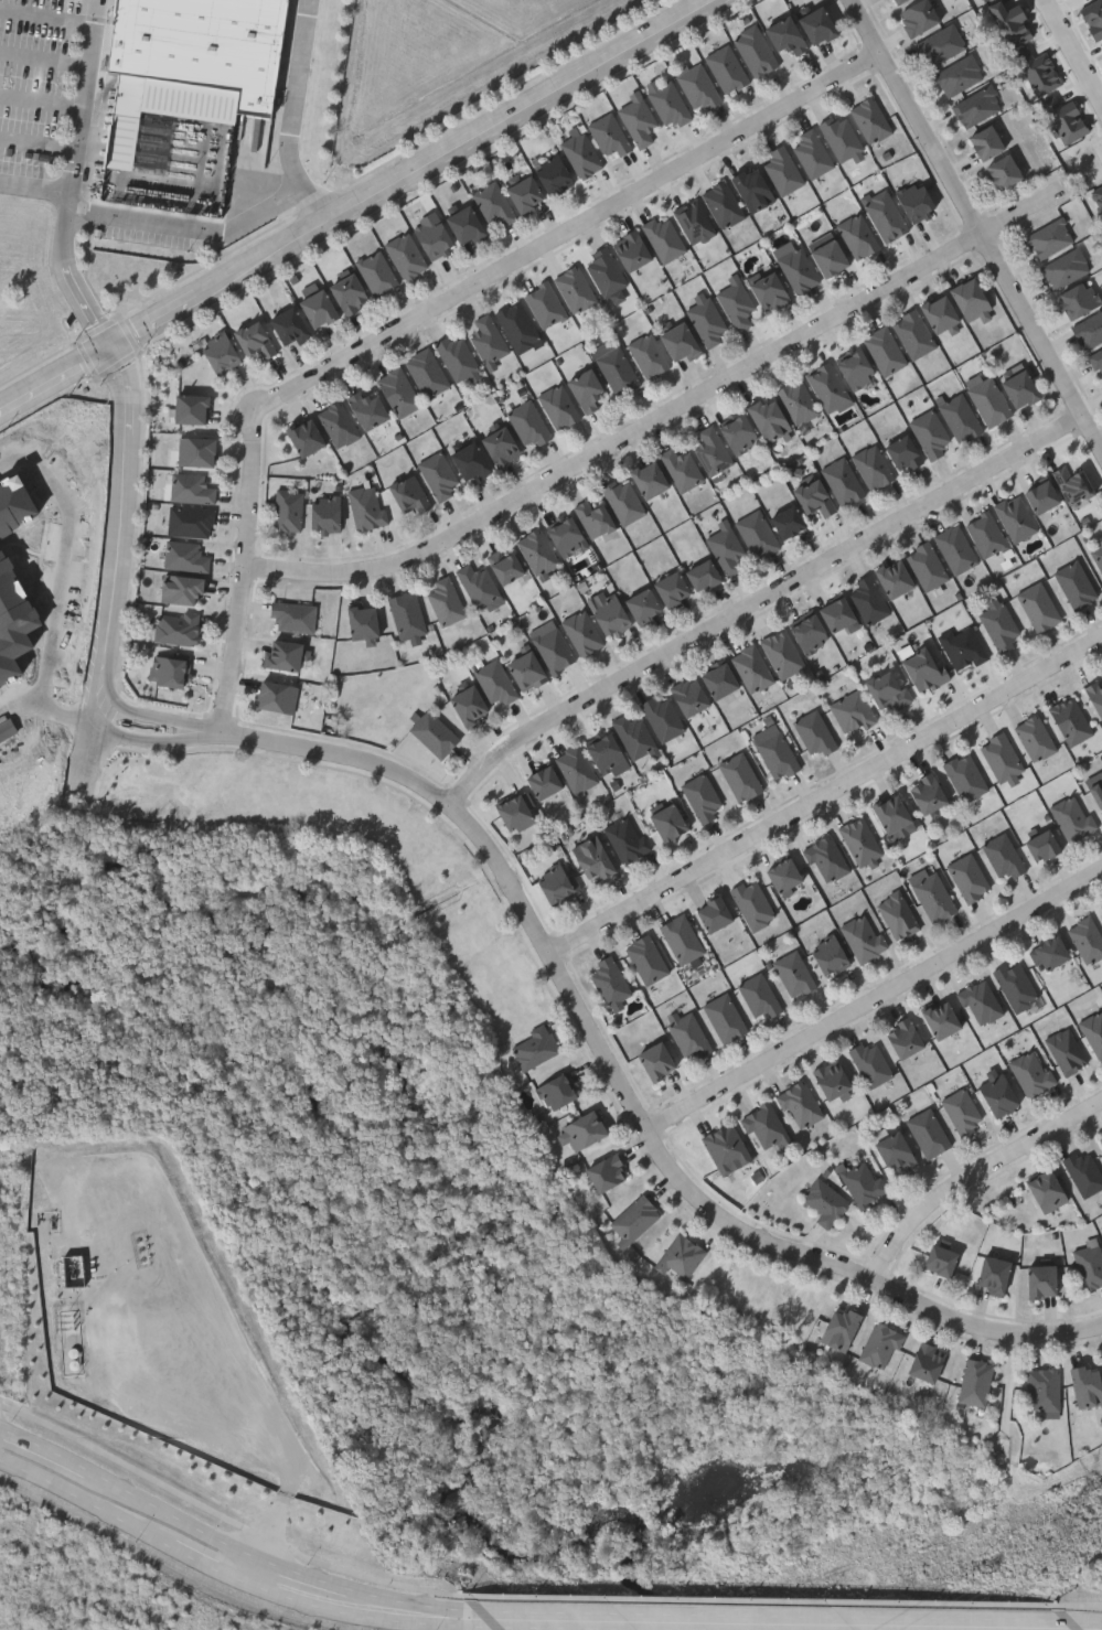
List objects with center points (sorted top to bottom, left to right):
building: (896, 2)
road: (46, 15)
building: (918, 17)
building: (816, 25)
building: (784, 35)
road: (1078, 42)
building: (939, 45)
building: (755, 51)
road: (43, 58)
building: (725, 68)
building: (189, 69)
building: (957, 75)
building: (698, 88)
road: (82, 95)
road: (40, 100)
building: (667, 103)
building: (976, 106)
road: (289, 116)
building: (638, 119)
building: (870, 119)
building: (609, 136)
building: (842, 137)
building: (985, 142)
road: (38, 144)
building: (811, 152)
building: (581, 154)
building: (782, 170)
building: (1002, 171)
building: (552, 174)
building: (751, 189)
building: (525, 195)
building: (914, 200)
building: (494, 203)
building: (721, 204)
road: (354, 205)
building: (884, 213)
building: (694, 222)
building: (466, 225)
road: (976, 225)
road: (189, 227)
building: (857, 235)
building: (664, 237)
building: (1049, 237)
building: (434, 238)
road: (65, 239)
building: (631, 250)
building: (406, 255)
building: (828, 256)
building: (1064, 267)
building: (798, 269)
building: (605, 270)
building: (376, 272)
building: (575, 289)
building: (770, 291)
building: (349, 292)
building: (1078, 298)
building: (970, 299)
building: (737, 302)
building: (546, 304)
building: (318, 307)
road: (429, 311)
building: (940, 313)
building: (707, 319)
building: (289, 324)
building: (517, 324)
building: (1089, 330)
building: (913, 333)
building: (254, 339)
building: (488, 339)
building: (681, 341)
building: (885, 350)
building: (220, 352)
building: (649, 354)
building: (457, 356)
building: (1096, 360)
building: (856, 368)
building: (618, 369)
building: (427, 372)
building: (827, 386)
building: (1020, 388)
building: (586, 389)
building: (398, 390)
building: (988, 399)
building: (798, 400)
building: (366, 406)
building: (559, 406)
building: (191, 408)
road: (668, 414)
building: (768, 417)
building: (960, 417)
building: (529, 422)
building: (339, 423)
building: (738, 433)
building: (930, 433)
building: (306, 436)
building: (500, 443)
building: (196, 450)
building: (713, 450)
building: (902, 452)
building: (470, 460)
building: (873, 467)
building: (681, 469)
building: (439, 475)
building: (649, 478)
building: (843, 481)
building: (1071, 482)
building: (192, 487)
building: (1041, 495)
building: (623, 498)
building: (366, 507)
building: (289, 510)
building: (325, 513)
building: (596, 517)
building: (1015, 517)
building: (190, 521)
building: (787, 521)
building: (757, 533)
building: (986, 534)
building: (567, 536)
building: (727, 548)
building: (955, 548)
building: (538, 551)
building: (1099, 554)
building: (185, 556)
building: (506, 565)
building: (927, 565)
road: (119, 569)
road: (72, 571)
building: (702, 575)
building: (894, 577)
building: (479, 585)
building: (1076, 585)
building: (673, 588)
building: (182, 589)
building: (868, 599)
building: (446, 601)
road: (761, 602)
building: (643, 604)
building: (1038, 605)
building: (836, 613)
building: (293, 615)
building: (407, 615)
building: (610, 615)
building: (363, 622)
building: (999, 625)
building: (178, 626)
building: (582, 633)
building: (809, 633)
building: (963, 646)
building: (554, 650)
building: (782, 653)
building: (283, 654)
building: (752, 668)
building: (924, 668)
building: (172, 669)
building: (526, 671)
building: (719, 679)
building: (496, 683)
building: (888, 688)
building: (689, 695)
building: (277, 696)
building: (1095, 696)
road: (25, 703)
building: (469, 706)
building: (853, 711)
building: (663, 717)
building: (1070, 720)
building: (434, 733)
building: (814, 733)
building: (633, 736)
building: (1035, 737)
building: (605, 752)
building: (777, 754)
building: (1001, 757)
building: (576, 768)
building: (965, 775)
building: (740, 776)
building: (543, 781)
building: (927, 792)
building: (1096, 792)
building: (702, 796)
road: (826, 797)
building: (891, 812)
building: (514, 813)
building: (1072, 817)
building: (667, 821)
building: (625, 838)
building: (860, 840)
building: (1041, 845)
building: (1003, 855)
building: (592, 858)
building: (826, 858)
building: (783, 875)
building: (969, 877)
building: (557, 882)
building: (932, 894)
building: (752, 903)
building: (1101, 908)
building: (714, 913)
building: (898, 914)
building: (864, 937)
building: (682, 939)
building: (1087, 939)
building: (1049, 953)
building: (828, 955)
building: (646, 958)
building: (794, 974)
building: (610, 982)
building: (1016, 986)
building: (759, 997)
building: (981, 1002)
road: (876, 1004)
building: (725, 1018)
building: (941, 1018)
road: (591, 1028)
building: (1094, 1032)
building: (688, 1034)
building: (903, 1038)
building: (534, 1048)
building: (1066, 1051)
building: (655, 1061)
building: (870, 1064)
building: (1031, 1072)
building: (832, 1079)
building: (554, 1091)
building: (997, 1093)
building: (801, 1104)
building: (963, 1112)
building: (766, 1126)
building: (581, 1129)
building: (929, 1133)
building: (1100, 1138)
building: (727, 1147)
building: (895, 1150)
building: (1084, 1171)
building: (606, 1172)
road: (975, 1176)
building: (864, 1183)
building: (1046, 1190)
building: (825, 1201)
park: (480, 1216)
building: (633, 1219)
building: (680, 1257)
building: (940, 1259)
building: (1089, 1265)
building: (993, 1274)
building: (1041, 1280)
building: (839, 1329)
building: (880, 1345)
building: (78, 1355)
building: (926, 1362)
building: (975, 1382)
building: (1085, 1385)
building: (1044, 1390)
road: (129, 1490)
road: (124, 1518)
power tower: (1062, 1530)
road: (355, 1604)
road: (764, 1621)
road: (1082, 1626)

